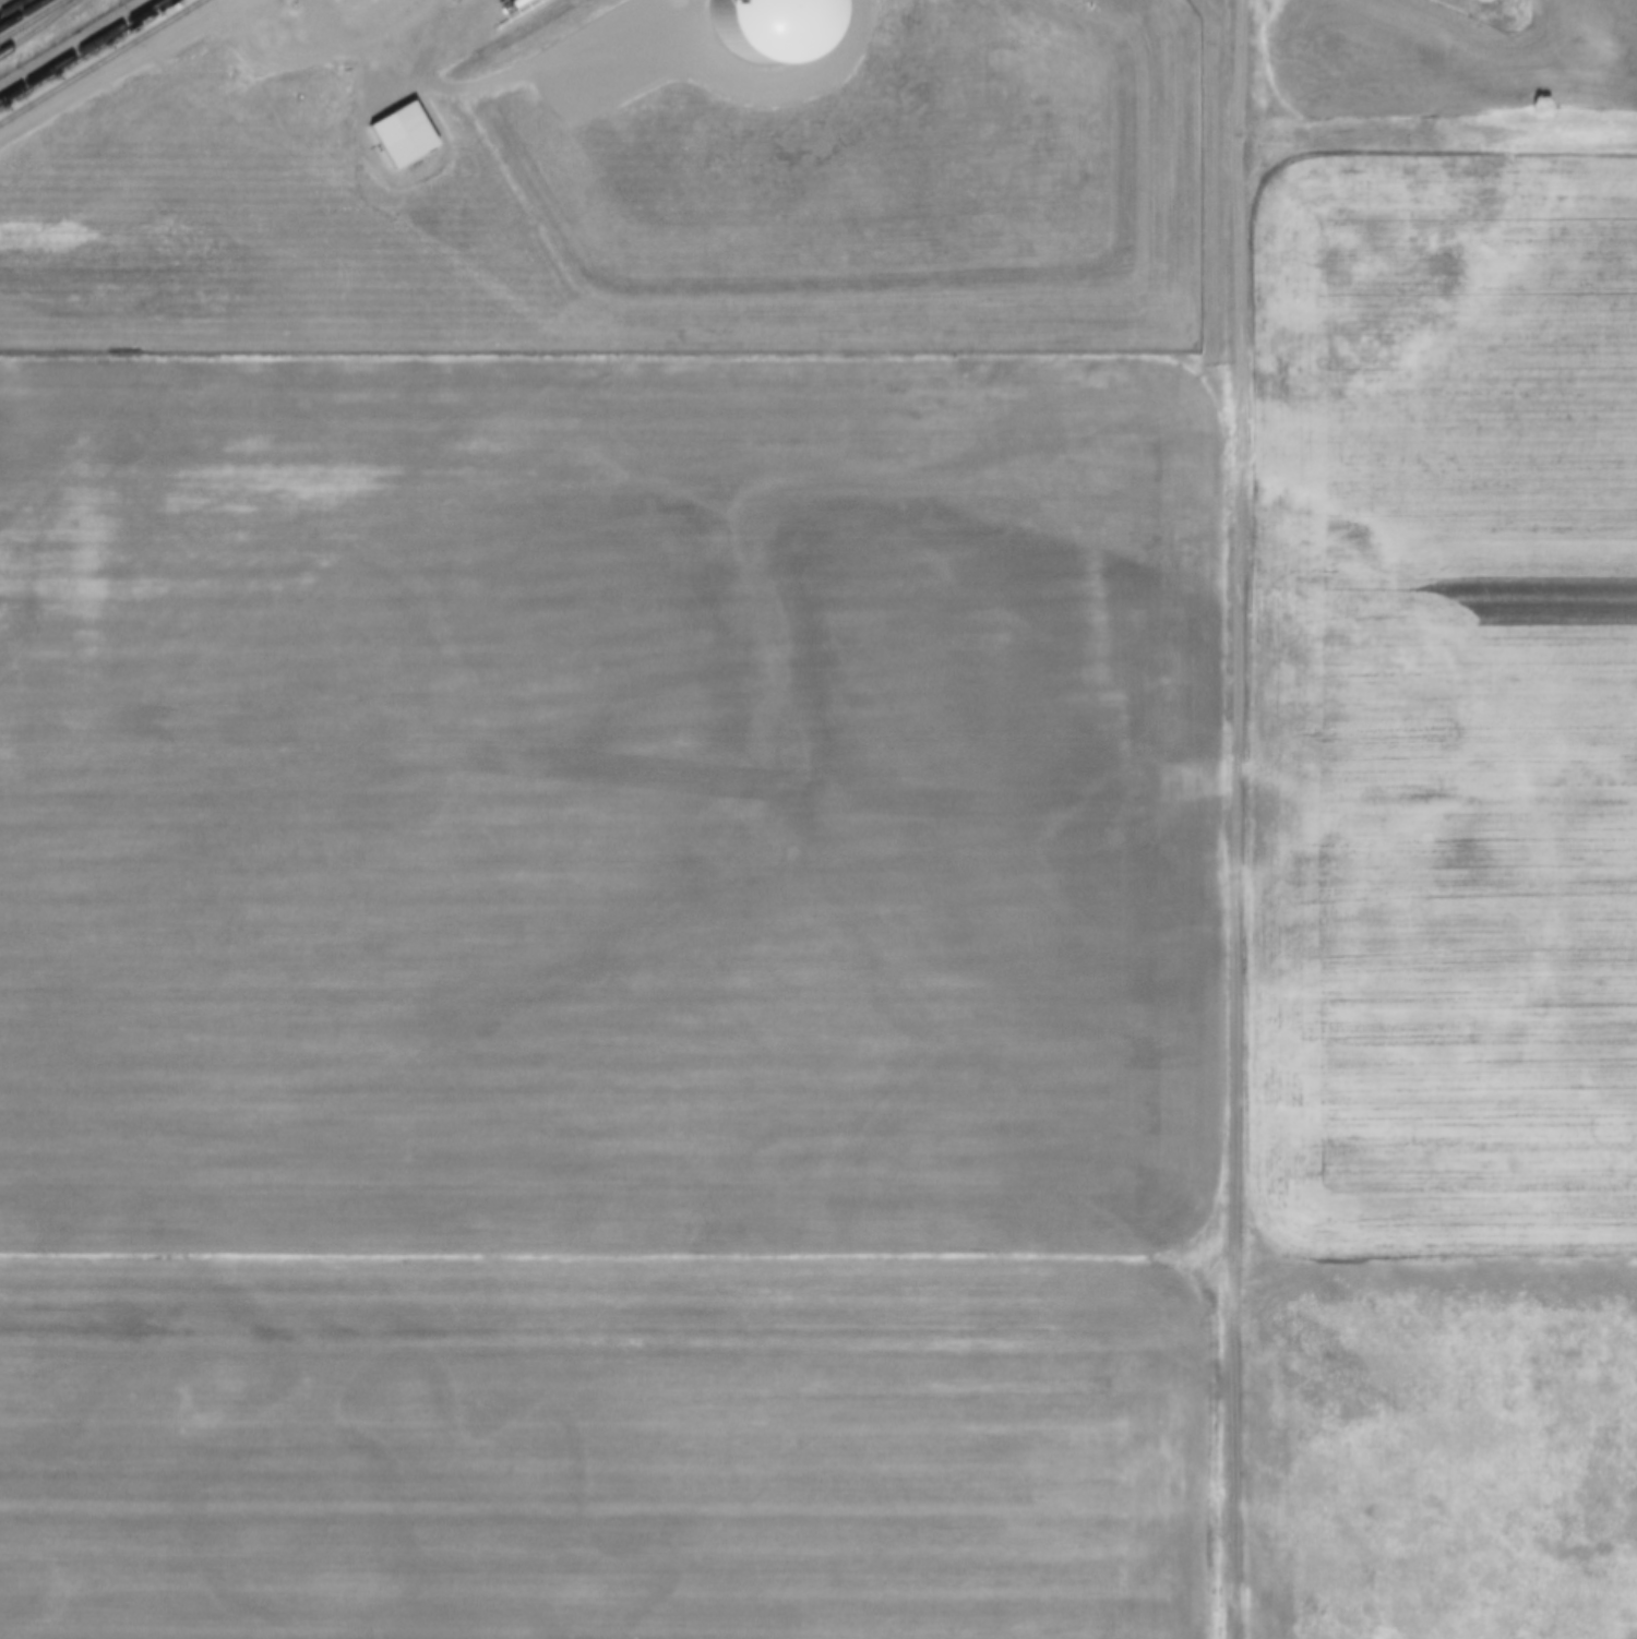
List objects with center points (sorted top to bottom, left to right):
road: (0, 0)
railway: (21, 12)
railway: (34, 20)
railway: (38, 26)
building: (762, 27)
silo: (762, 27)
railway: (81, 49)
railway: (101, 61)
road: (115, 69)
road: (1239, 820)

